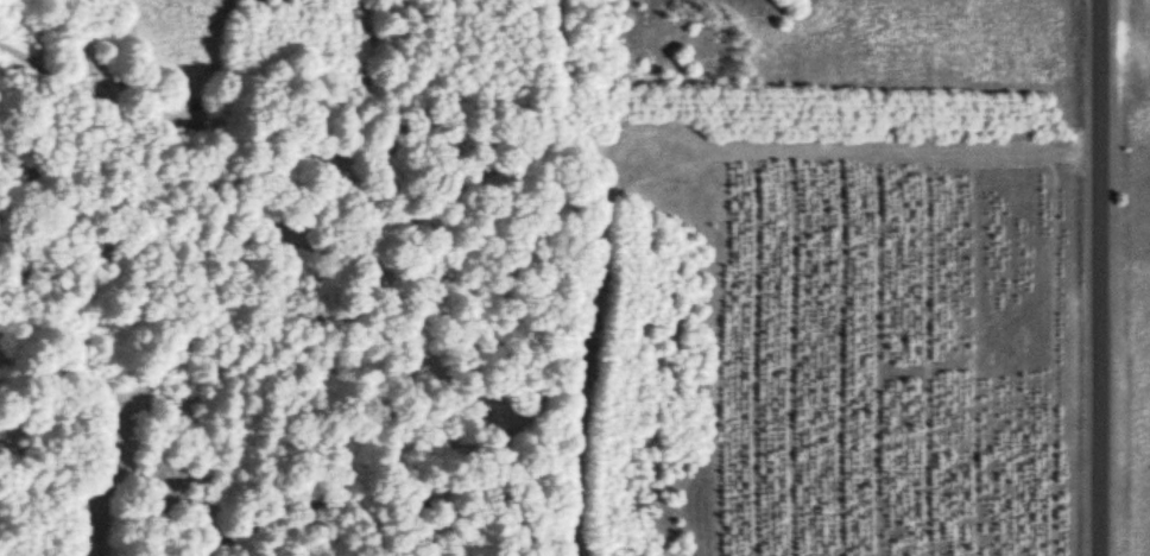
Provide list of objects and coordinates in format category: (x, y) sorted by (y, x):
road: (1099, 278)

